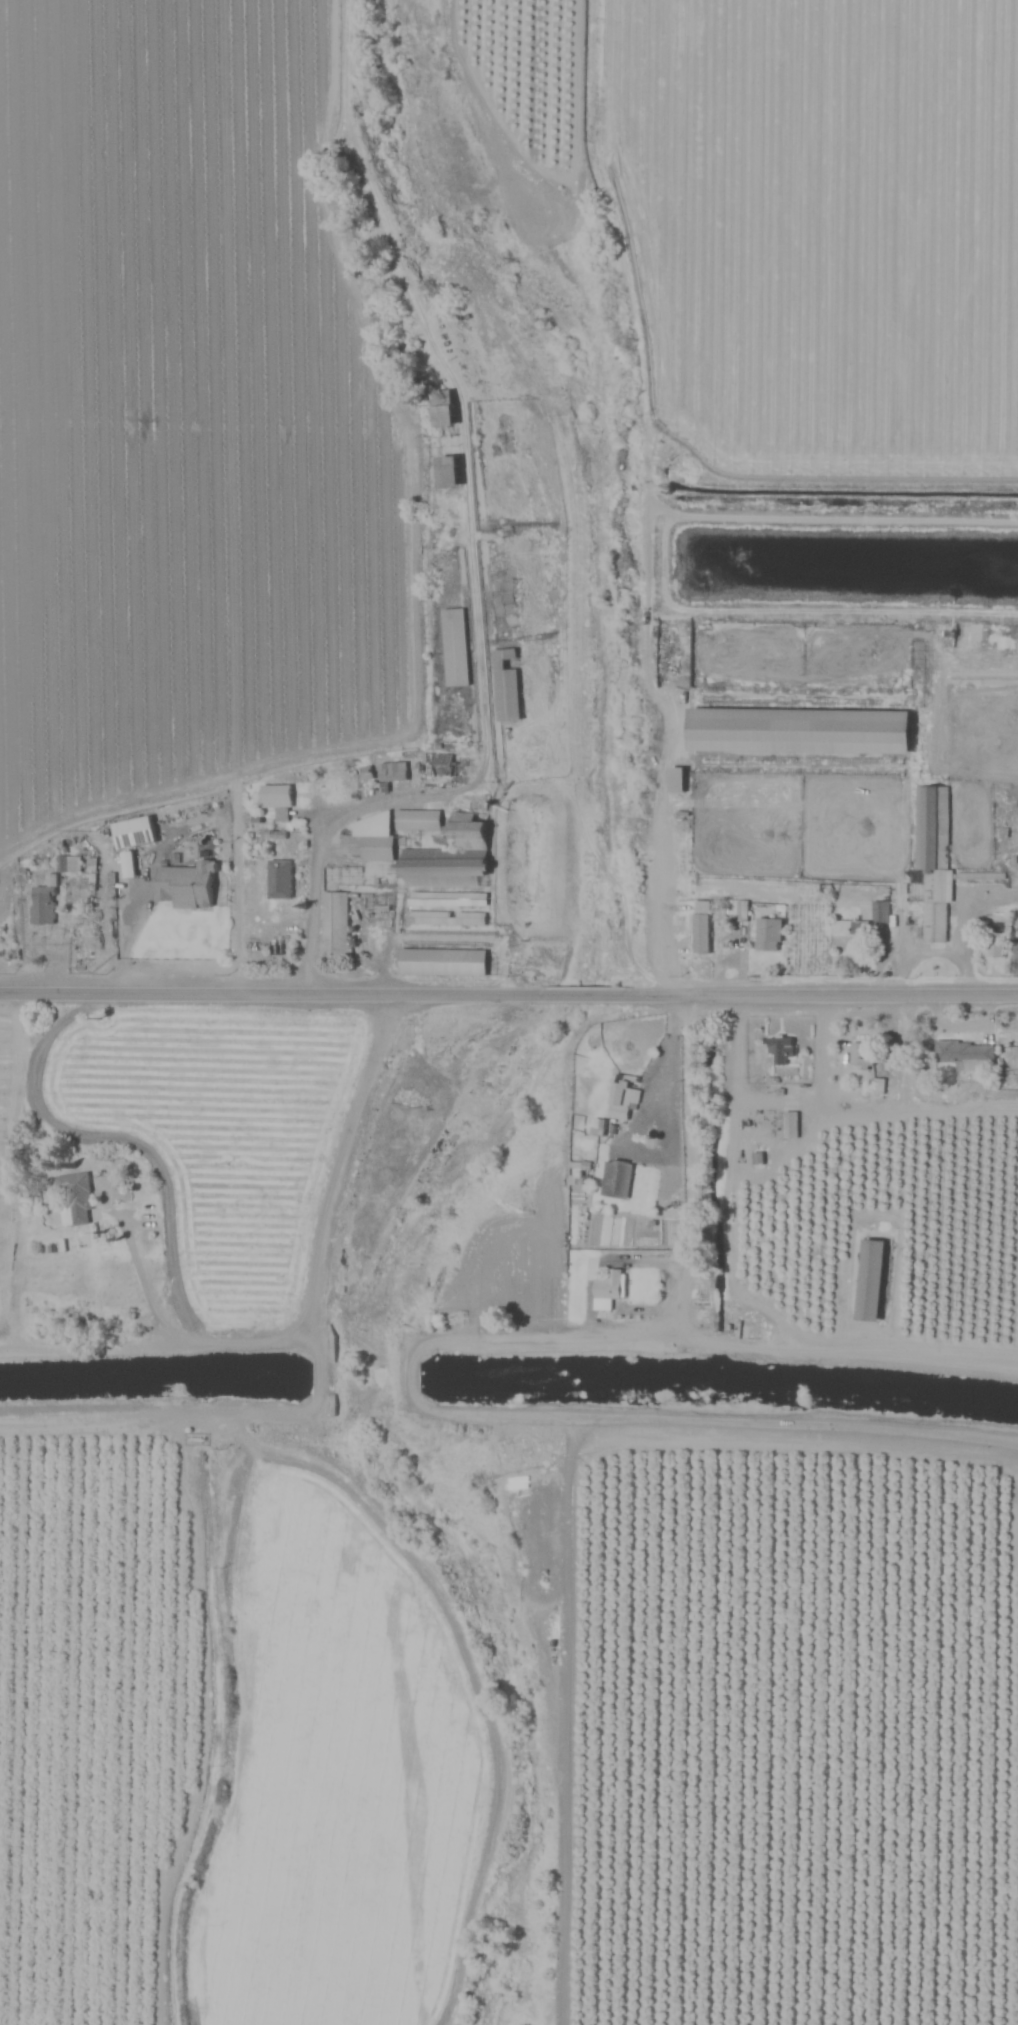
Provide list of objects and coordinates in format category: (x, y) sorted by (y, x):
crop: (799, 217)
crop: (182, 402)
building: (440, 440)
building: (498, 603)
building: (454, 648)
building: (916, 656)
building: (504, 685)
building: (797, 731)
building: (392, 772)
road: (478, 775)
building: (673, 780)
building: (275, 797)
building: (131, 833)
building: (368, 839)
building: (441, 851)
building: (933, 860)
building: (69, 864)
building: (341, 876)
building: (278, 880)
building: (185, 886)
building: (444, 899)
building: (42, 905)
building: (332, 908)
building: (741, 911)
building: (880, 912)
building: (444, 918)
building: (700, 931)
building: (768, 934)
building: (849, 935)
building: (439, 962)
road: (268, 994)
road: (826, 994)
road: (586, 996)
building: (779, 1050)
building: (963, 1054)
building: (859, 1056)
road: (668, 1076)
road: (783, 1098)
building: (623, 1103)
building: (790, 1126)
building: (616, 1179)
building: (71, 1200)
building: (867, 1281)
road: (143, 1289)
building: (605, 1290)
road: (475, 1414)
crop: (215, 1554)
crop: (815, 1669)

